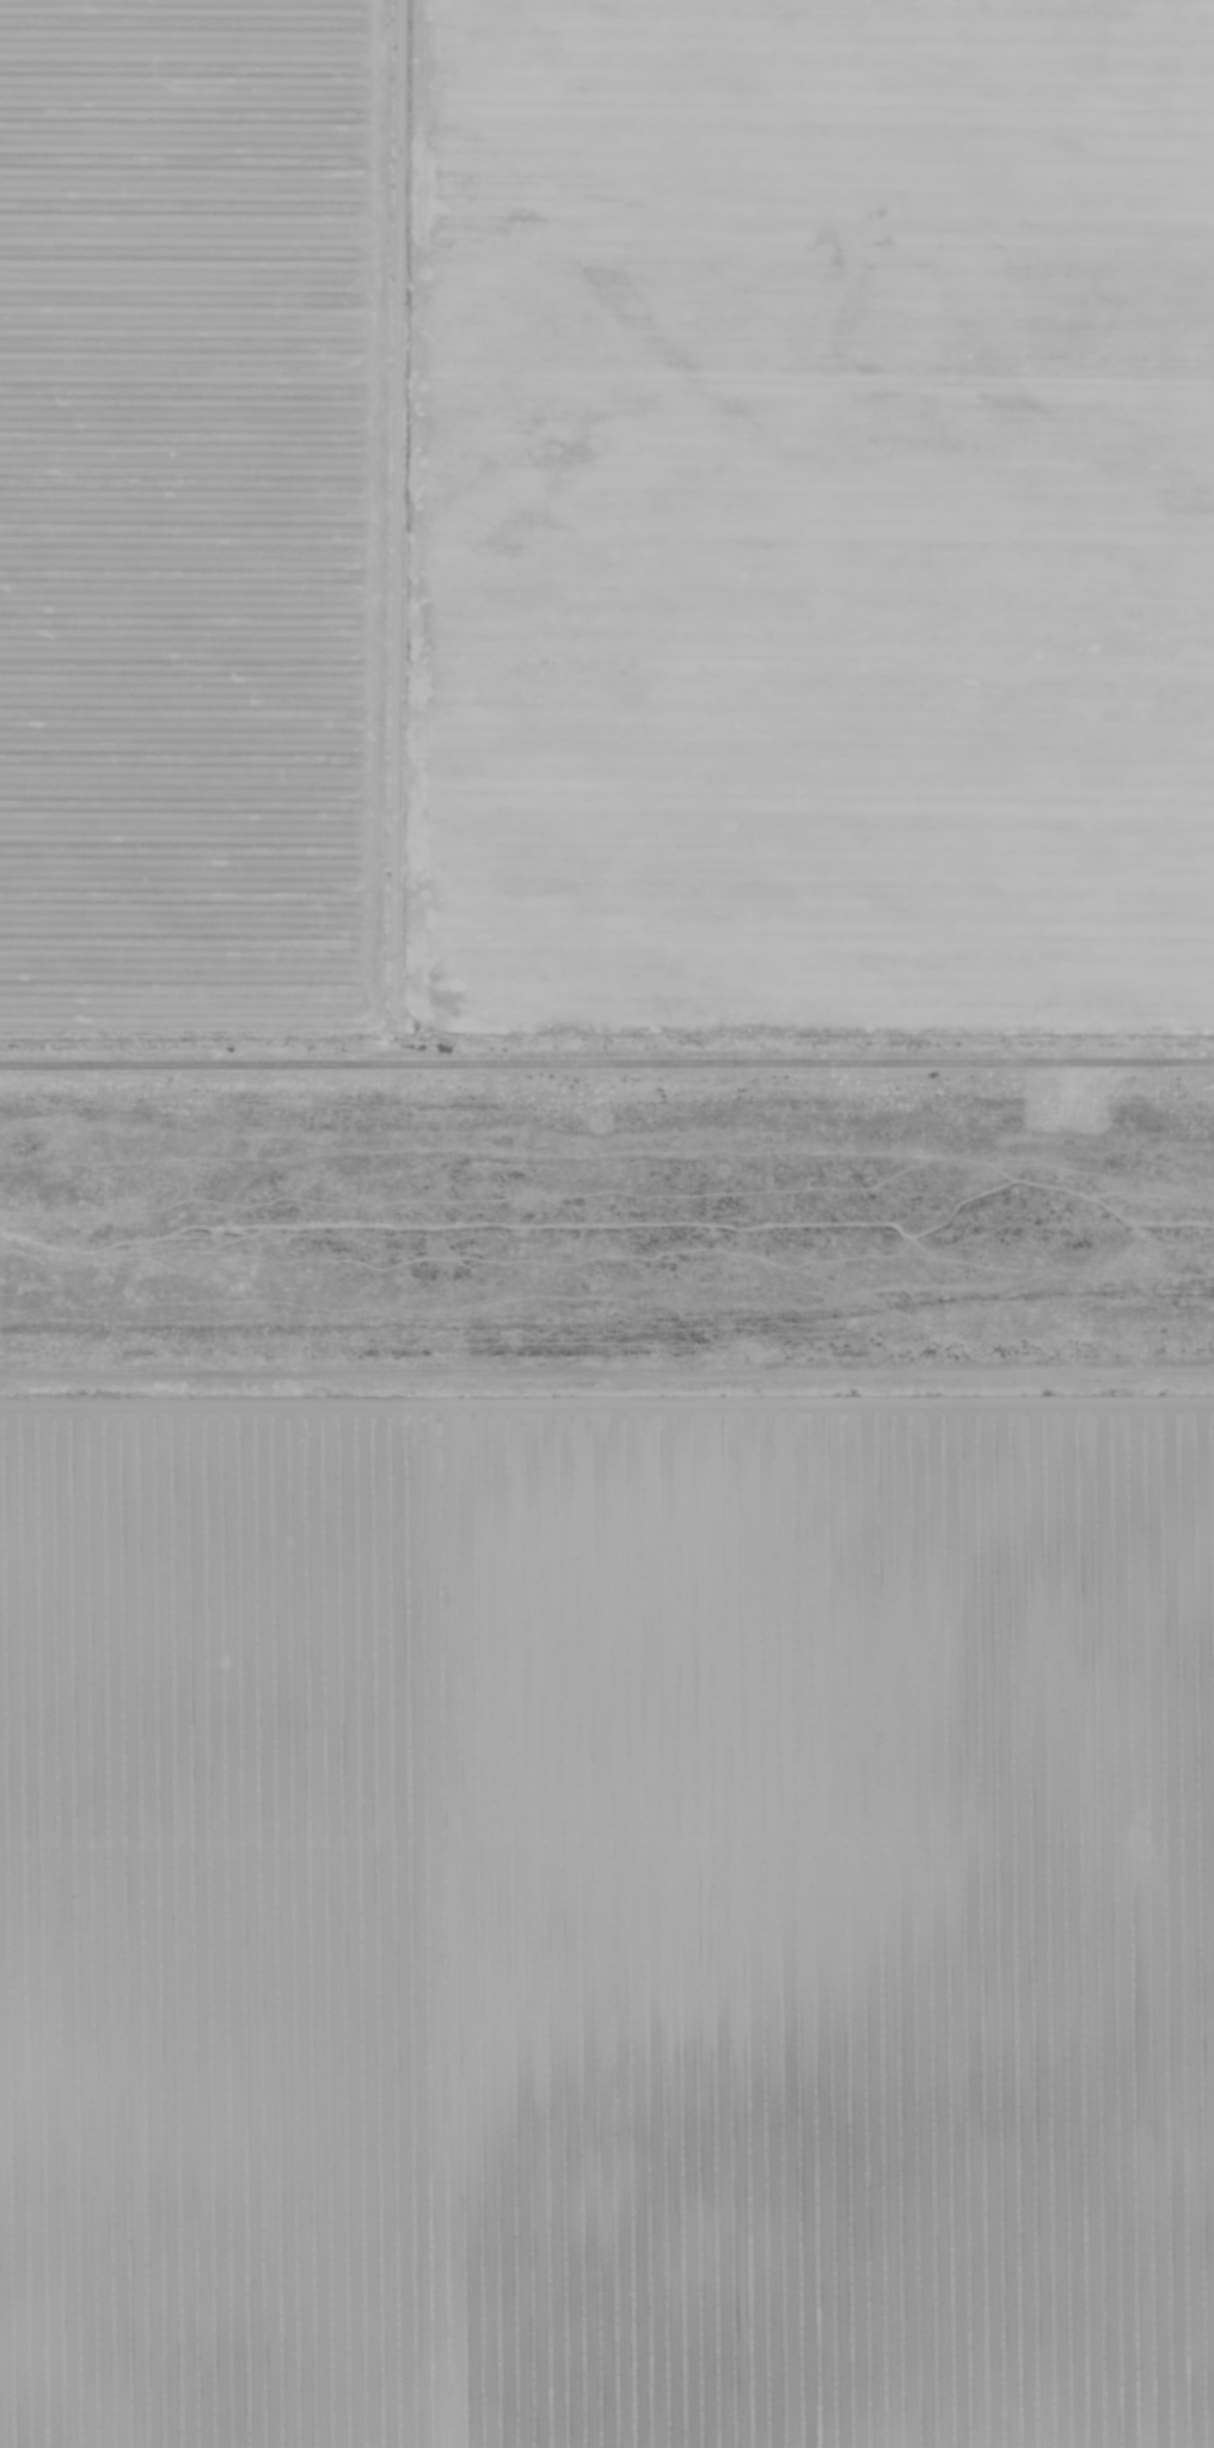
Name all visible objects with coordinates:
crop: (606, 528)
road: (607, 1378)
crop: (606, 1920)

